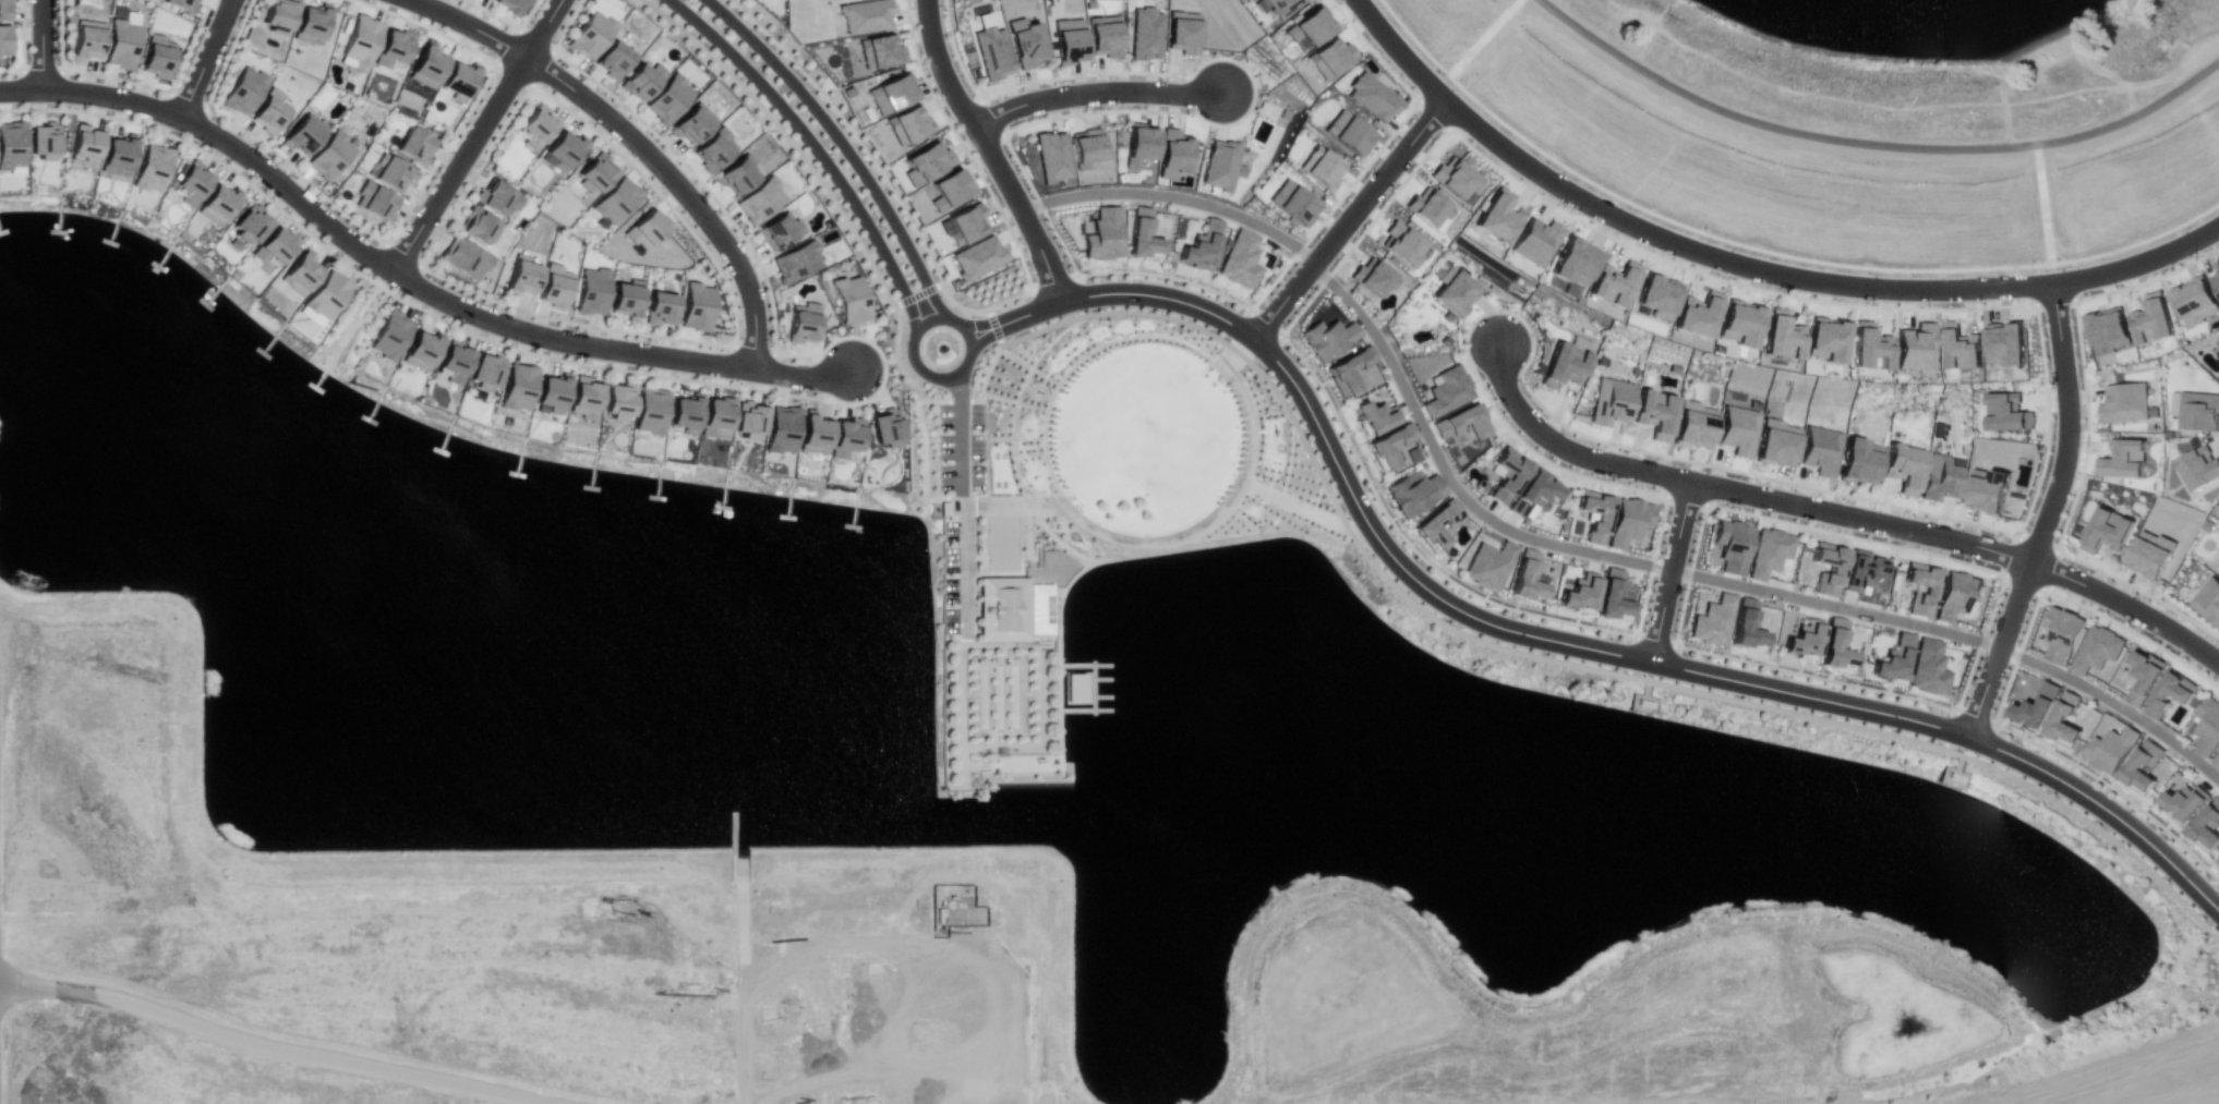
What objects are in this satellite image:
building: (489, 0)
building: (181, 4)
building: (509, 5)
building: (1278, 8)
building: (3, 9)
building: (278, 15)
building: (864, 16)
road: (505, 22)
building: (310, 23)
road: (470, 25)
building: (1309, 26)
building: (590, 32)
building: (1181, 33)
building: (1104, 35)
building: (1145, 35)
building: (4, 39)
building: (85, 40)
building: (360, 40)
building: (1068, 40)
building: (1024, 43)
building: (119, 44)
road: (22, 46)
road: (44, 46)
building: (391, 48)
building: (878, 51)
road: (1399, 51)
building: (992, 53)
building: (156, 57)
road: (206, 59)
building: (613, 59)
building: (1329, 59)
building: (426, 65)
road: (1243, 65)
building: (458, 81)
building: (641, 81)
road: (129, 84)
building: (243, 90)
road: (1095, 92)
road: (93, 94)
building: (891, 94)
building: (1373, 97)
building: (667, 100)
building: (268, 110)
road: (96, 113)
road: (1402, 121)
building: (906, 123)
building: (691, 124)
building: (536, 126)
building: (302, 134)
road: (477, 135)
building: (1346, 135)
building: (41, 141)
building: (11, 145)
building: (413, 145)
road: (843, 145)
building: (1138, 145)
road: (1871, 145)
building: (85, 147)
building: (565, 148)
road: (815, 148)
building: (1085, 148)
building: (712, 149)
road: (988, 150)
building: (1172, 153)
building: (116, 155)
building: (329, 155)
building: (1051, 156)
building: (925, 162)
building: (1219, 165)
building: (149, 168)
building: (1319, 168)
building: (595, 172)
building: (393, 174)
building: (736, 175)
building: (1455, 180)
building: (193, 182)
road: (680, 187)
road: (290, 191)
building: (948, 191)
building: (498, 195)
road: (1175, 196)
building: (616, 199)
building: (758, 199)
building: (218, 202)
building: (374, 203)
building: (1292, 203)
building: (1425, 208)
building: (1496, 216)
road: (1349, 220)
building: (253, 221)
building: (480, 223)
building: (965, 225)
building: (647, 228)
road: (852, 229)
road: (395, 231)
building: (779, 231)
building: (1101, 233)
building: (1141, 233)
building: (1402, 242)
building: (1536, 242)
building: (275, 246)
building: (1201, 246)
road: (1765, 251)
building: (467, 256)
building: (977, 257)
building: (1240, 259)
building: (795, 260)
building: (1573, 262)
road: (1727, 262)
road: (2138, 262)
building: (301, 271)
building: (522, 275)
road: (1169, 277)
building: (1371, 278)
building: (1615, 283)
building: (2214, 283)
building: (555, 284)
building: (593, 290)
road: (1115, 291)
building: (1455, 291)
building: (327, 293)
road: (917, 294)
building: (849, 298)
building: (1659, 298)
building: (627, 299)
building: (2195, 304)
building: (696, 305)
building: (661, 307)
road: (963, 307)
building: (1697, 314)
road: (952, 319)
building: (2152, 319)
building: (1739, 322)
building: (801, 323)
road: (993, 326)
building: (2108, 330)
road: (632, 331)
building: (389, 335)
building: (1782, 336)
road: (1124, 338)
building: (1326, 338)
building: (1826, 340)
building: (2005, 344)
building: (1870, 347)
building: (1916, 348)
building: (2218, 349)
road: (616, 350)
building: (1958, 350)
building: (421, 351)
road: (1230, 359)
road: (890, 360)
building: (453, 362)
building: (1565, 364)
road: (1029, 367)
building: (1347, 368)
building: (485, 372)
road: (930, 375)
road: (1037, 384)
building: (516, 387)
road: (1025, 387)
building: (552, 392)
building: (1446, 392)
road: (803, 396)
road: (1049, 397)
building: (584, 398)
road: (938, 400)
building: (1612, 400)
building: (618, 401)
road: (1014, 401)
road: (1410, 402)
building: (2123, 402)
building: (2173, 403)
building: (650, 409)
building: (2198, 410)
building: (1656, 412)
building: (684, 413)
building: (2007, 413)
building: (1372, 415)
building: (715, 416)
building: (748, 421)
building: (1461, 422)
building: (1695, 423)
building: (885, 426)
building: (779, 429)
building: (1739, 429)
building: (812, 433)
road: (1012, 435)
road: (960, 436)
building: (845, 437)
road: (999, 439)
park: (1145, 440)
building: (1777, 441)
road: (2086, 442)
building: (1387, 445)
parking lot: (961, 447)
road: (1563, 448)
building: (1821, 449)
road: (1045, 454)
building: (1859, 460)
building: (2122, 460)
building: (1904, 466)
building: (2199, 466)
park: (1000, 470)
road: (1287, 473)
building: (1508, 476)
building: (1942, 476)
building: (1983, 490)
building: (1412, 492)
building: (1532, 494)
road: (1002, 498)
road: (1294, 505)
road: (1313, 508)
road: (2027, 512)
road: (2045, 512)
building: (1594, 517)
road: (1861, 519)
road: (1211, 520)
building: (1627, 522)
building: (1421, 526)
building: (2106, 530)
road: (1273, 534)
road: (1524, 535)
road: (1855, 537)
park: (1002, 544)
building: (1732, 547)
road: (1413, 548)
building: (1769, 551)
road: (1603, 554)
building: (2149, 554)
road: (1090, 560)
building: (1488, 565)
road: (965, 569)
road: (1671, 571)
building: (1860, 571)
building: (1834, 572)
building: (2218, 572)
road: (1075, 573)
parking lot: (950, 578)
building: (1525, 579)
building: (1928, 590)
building: (1578, 593)
building: (1954, 595)
building: (1612, 597)
building: (2208, 599)
road: (1684, 606)
road: (1835, 606)
road: (2127, 606)
building: (1003, 608)
road: (2105, 616)
building: (1711, 620)
building: (1745, 626)
building: (2061, 635)
building: (1802, 640)
building: (1834, 646)
building: (2095, 651)
road: (1527, 653)
building: (1891, 659)
building: (1927, 667)
road: (1698, 671)
building: (2143, 677)
road: (1847, 683)
building: (2169, 694)
park: (998, 696)
road: (2113, 703)
building: (2036, 708)
building: (2063, 719)
building: (2207, 725)
building: (2109, 750)
building: (2216, 761)
building: (2140, 767)
road: (2085, 771)
building: (2183, 803)
building: (2205, 826)
building: (2217, 861)
road: (287, 1047)
road: (2108, 1082)

